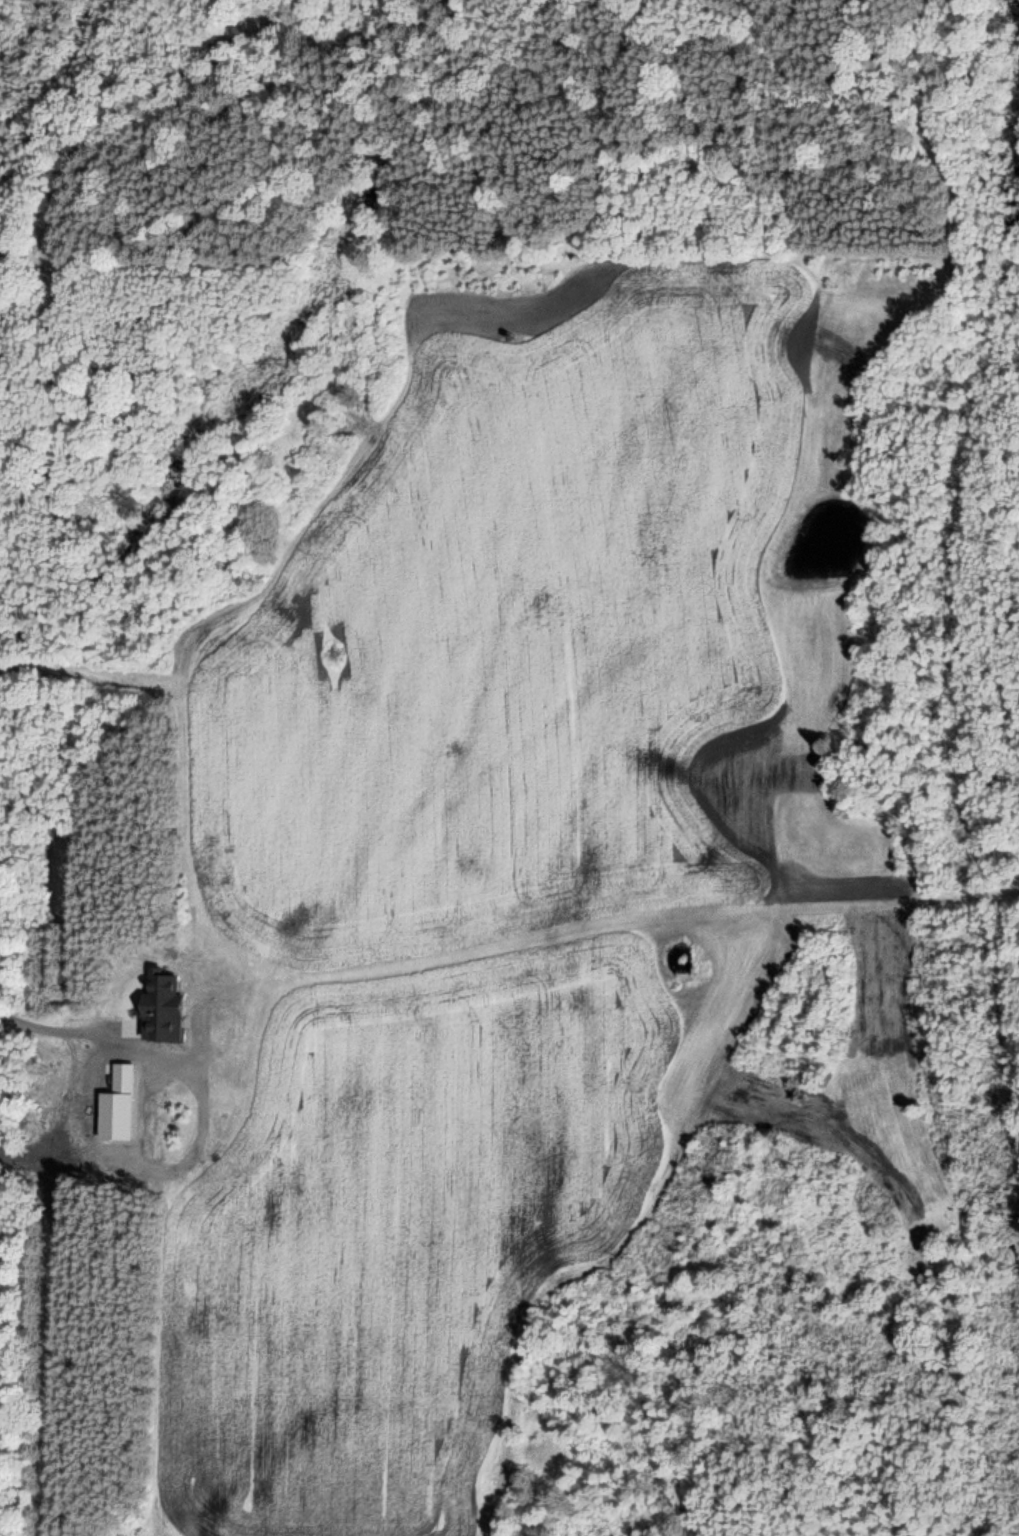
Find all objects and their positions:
building: (167, 1009)
road: (95, 1031)

